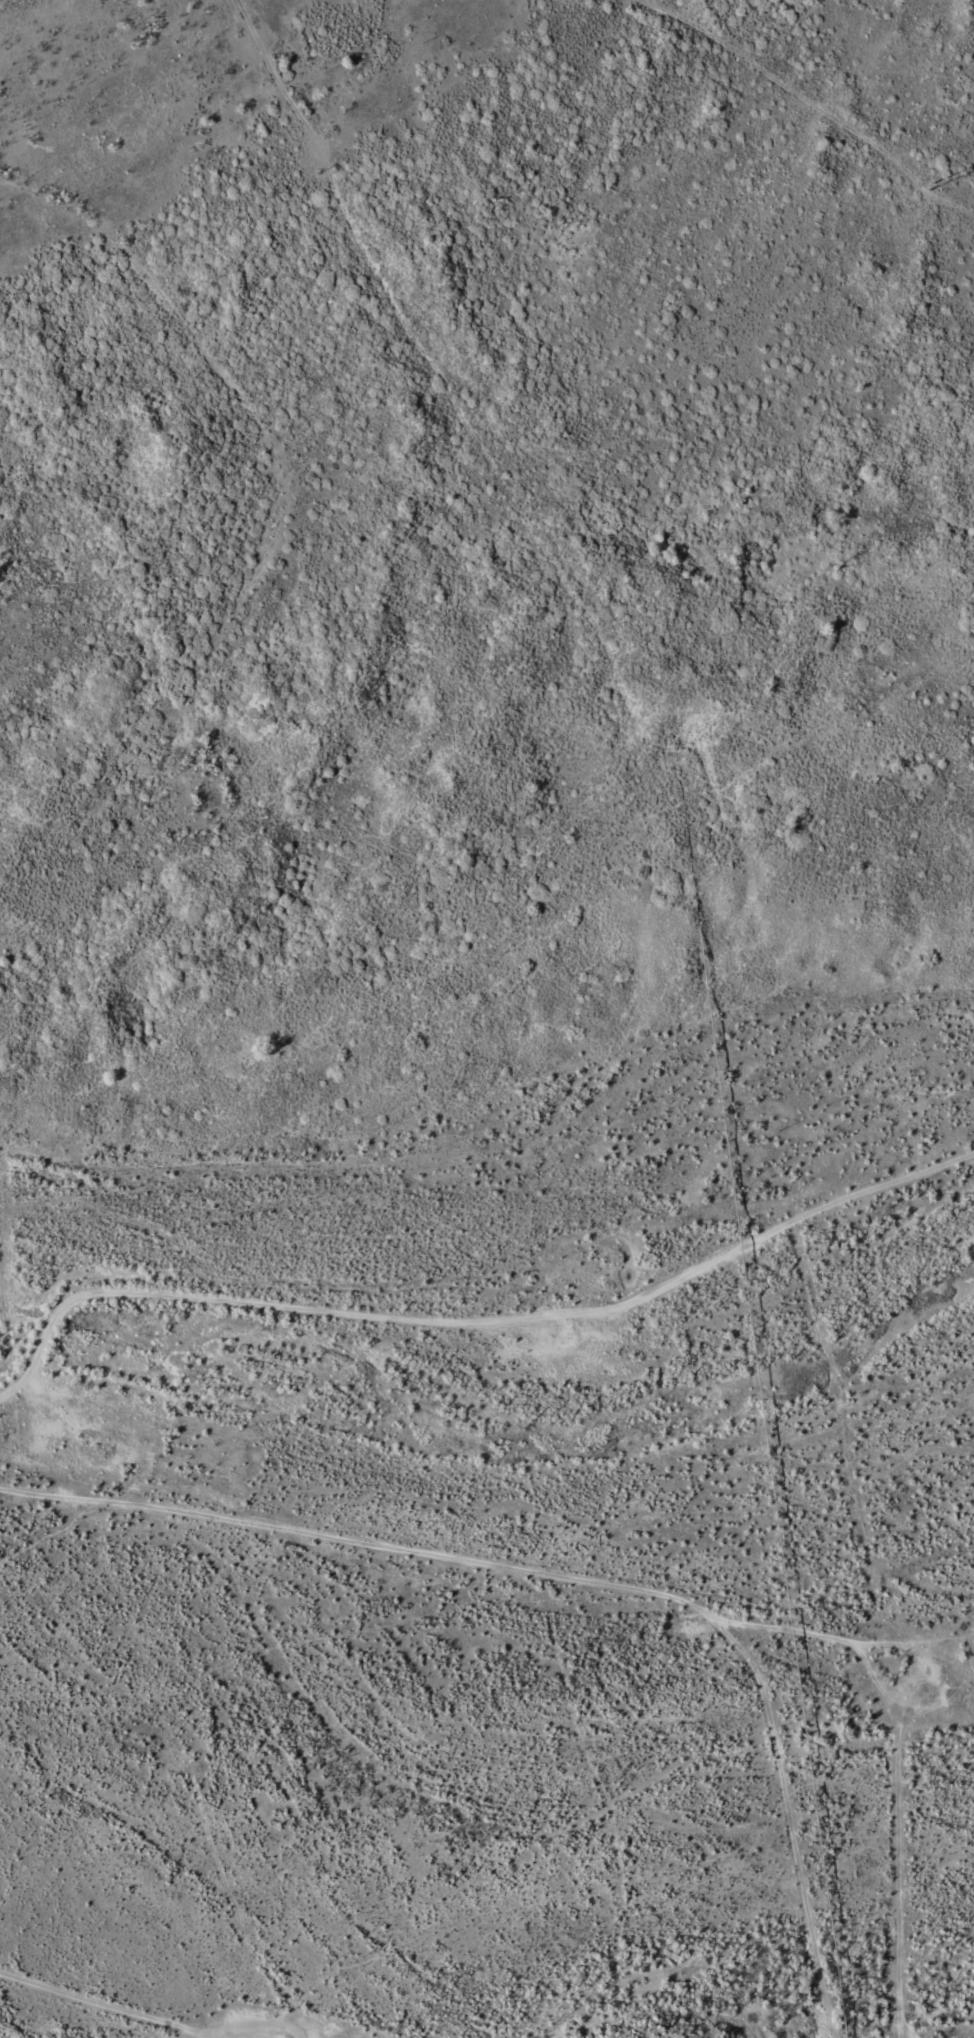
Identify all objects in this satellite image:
power tower: (931, 184)
river: (492, 1445)

